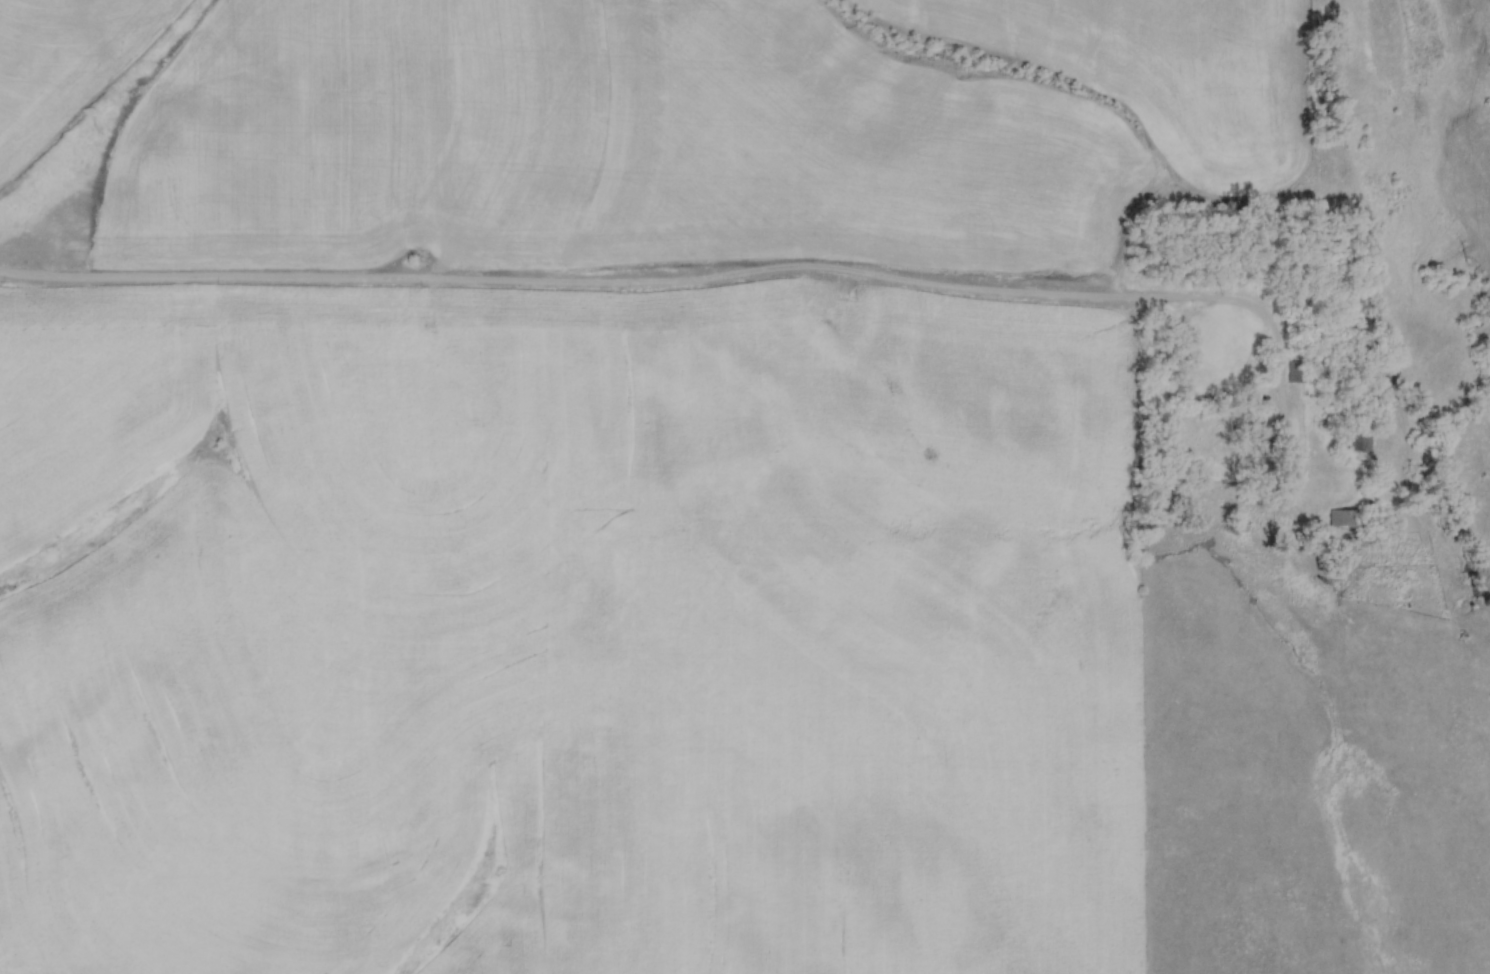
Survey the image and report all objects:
road: (695, 286)
building: (1295, 372)
building: (1264, 430)
building: (1358, 436)
building: (1342, 518)

